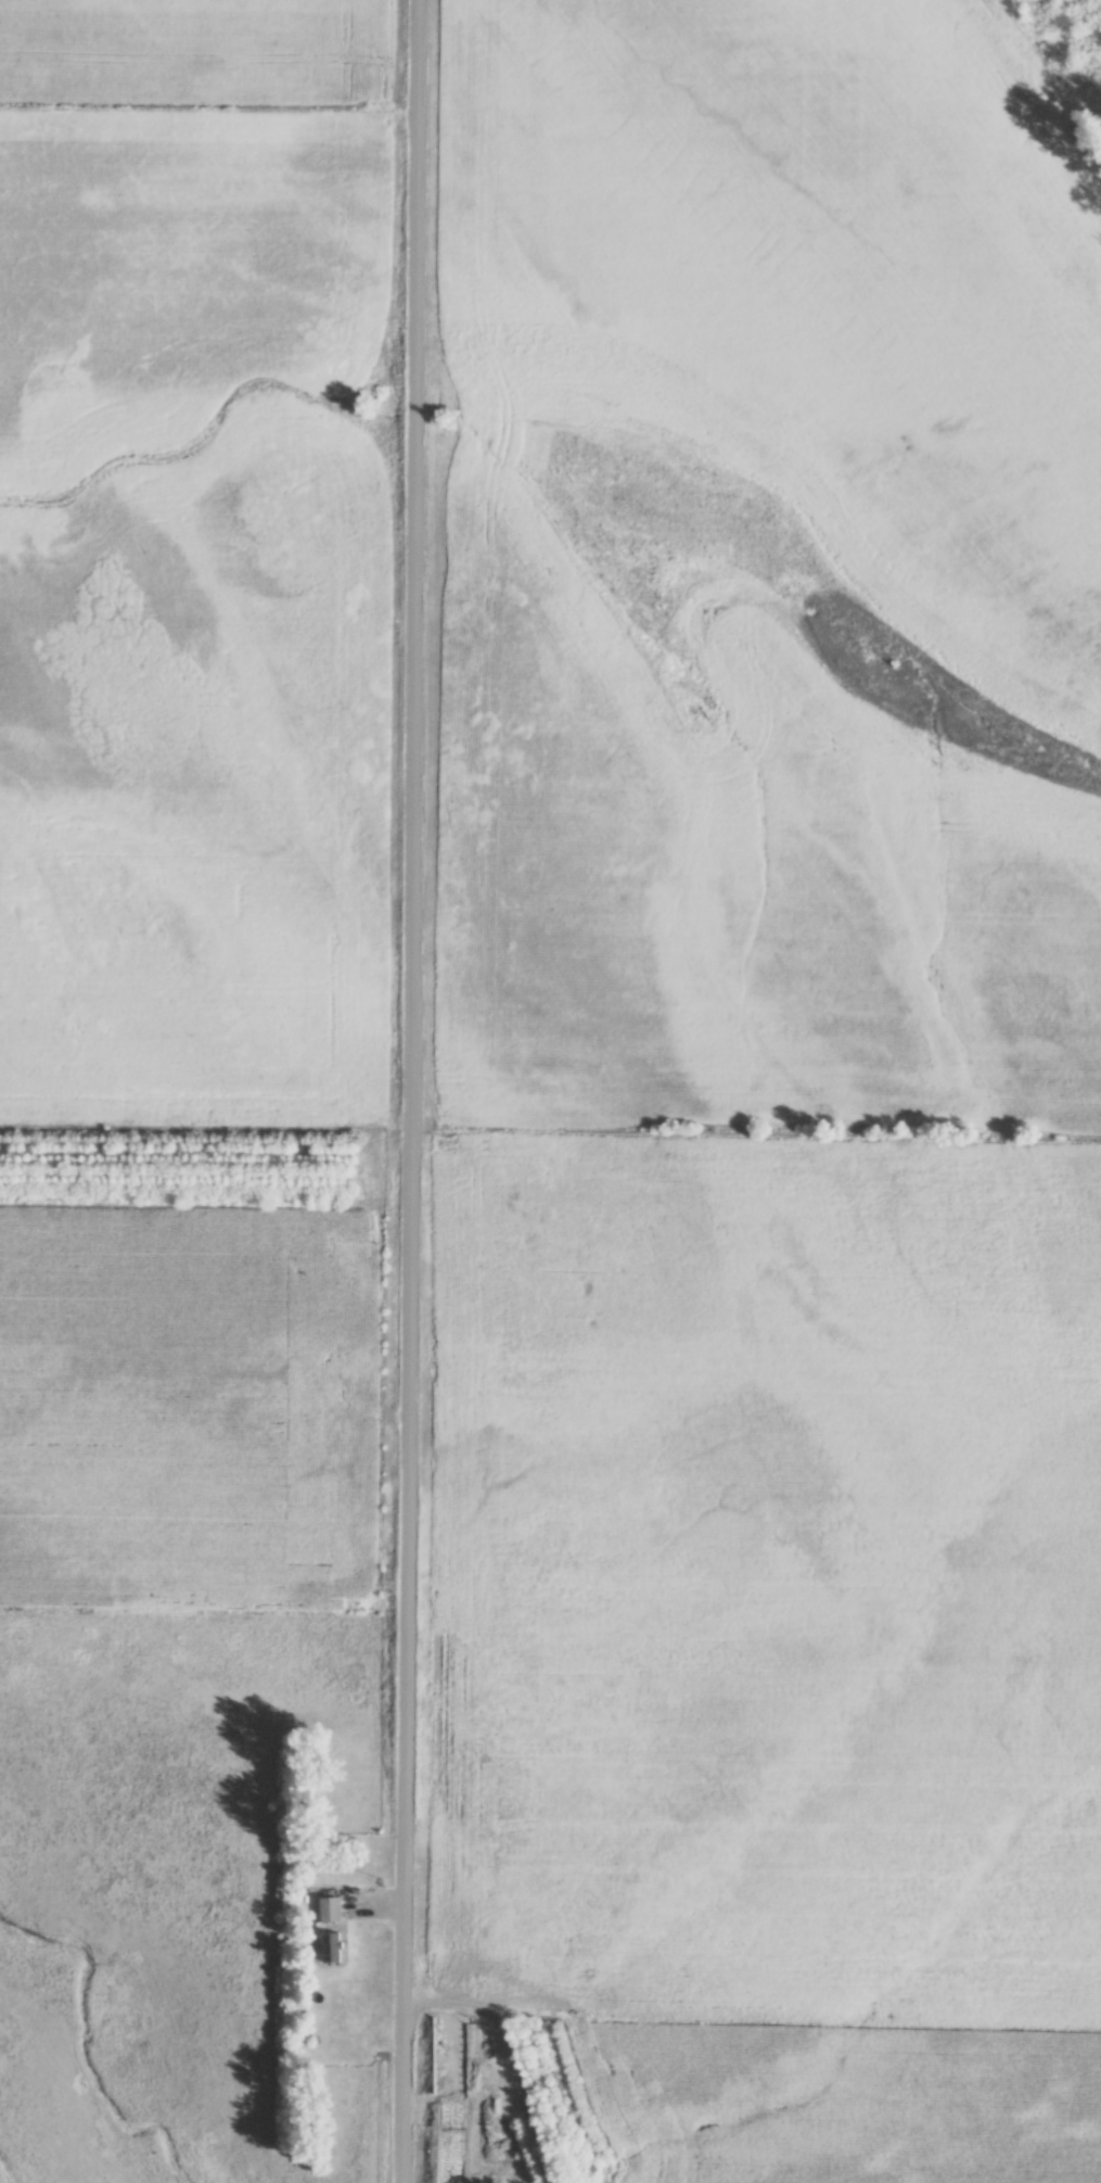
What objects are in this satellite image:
road: (408, 1091)
crop: (190, 1408)
building: (332, 1931)

